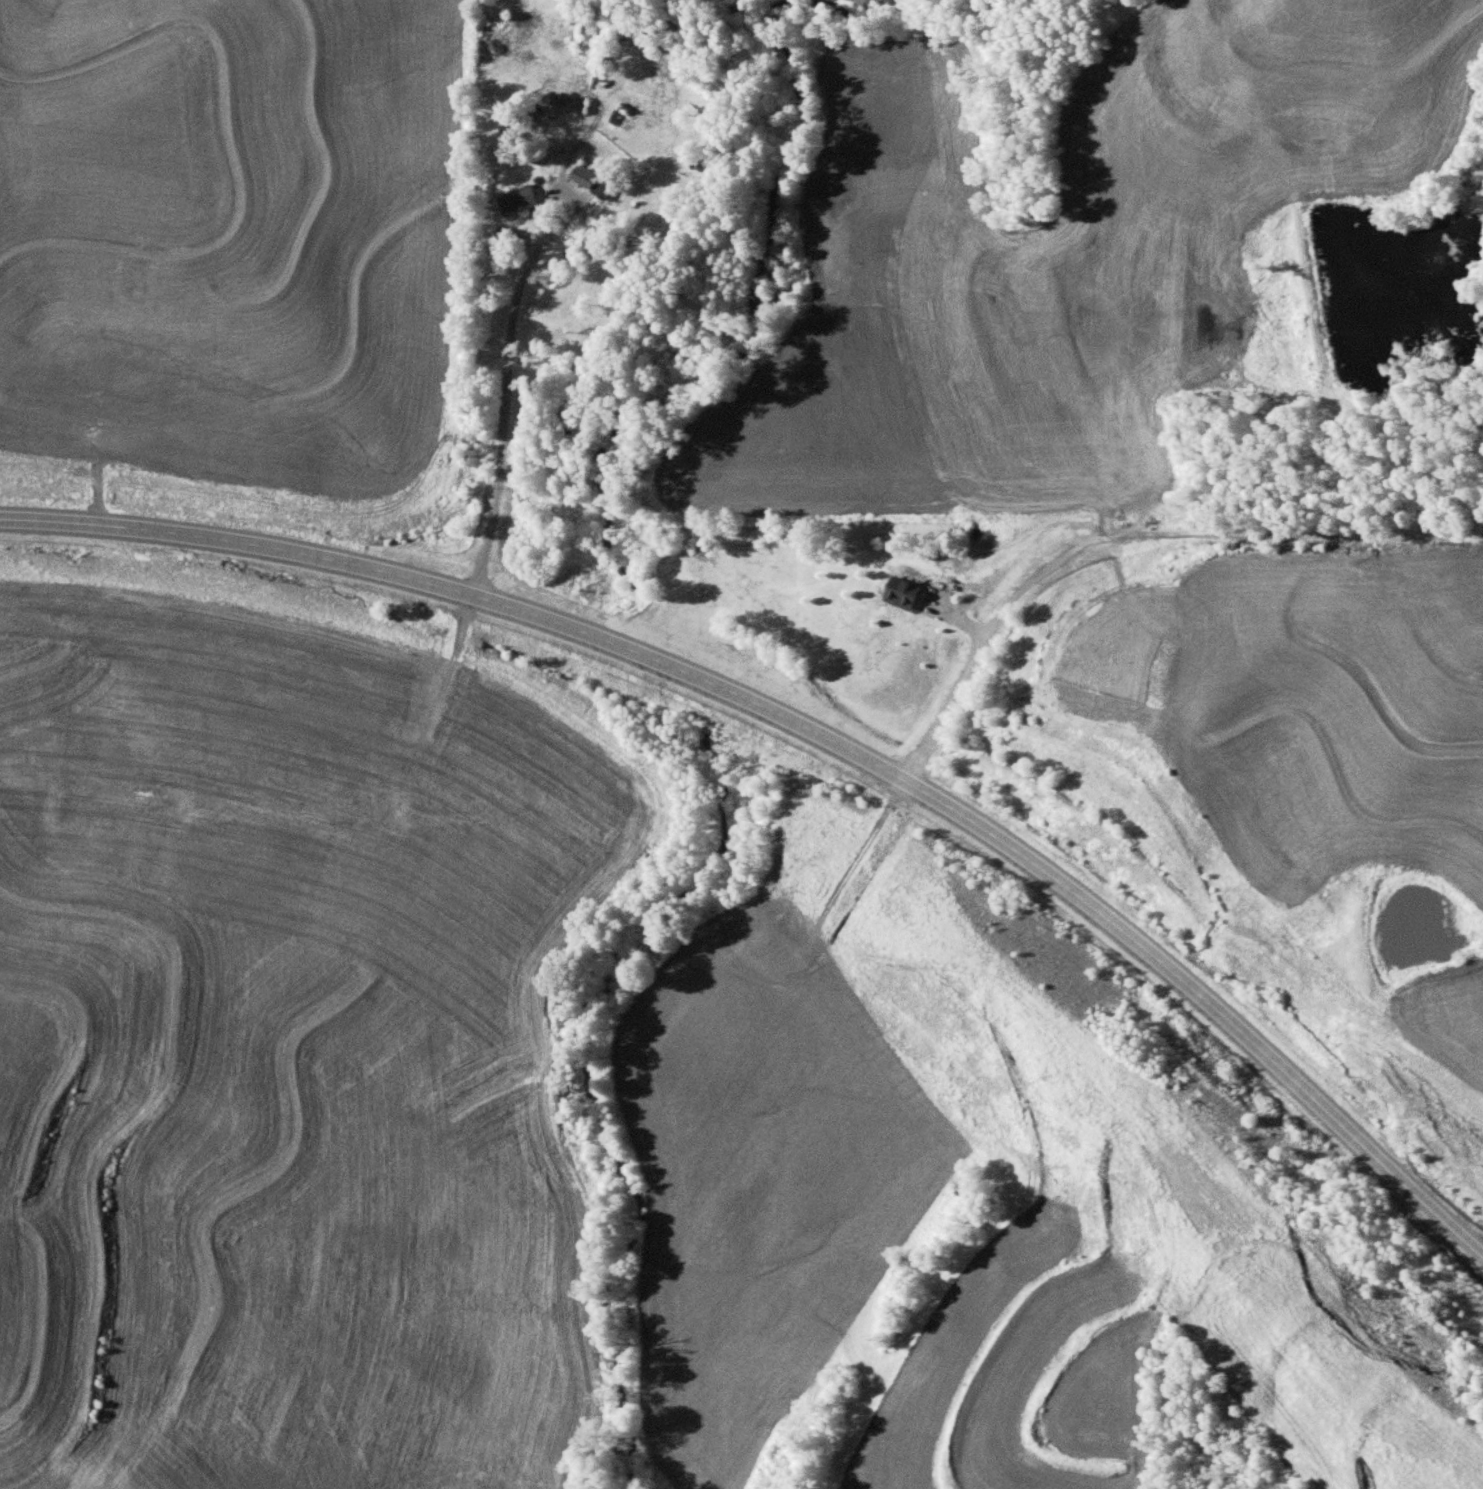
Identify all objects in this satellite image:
building: (606, 51)
building: (509, 123)
building: (595, 179)
building: (518, 199)
building: (510, 235)
road: (504, 440)
road: (1020, 581)
building: (906, 592)
road: (819, 737)

